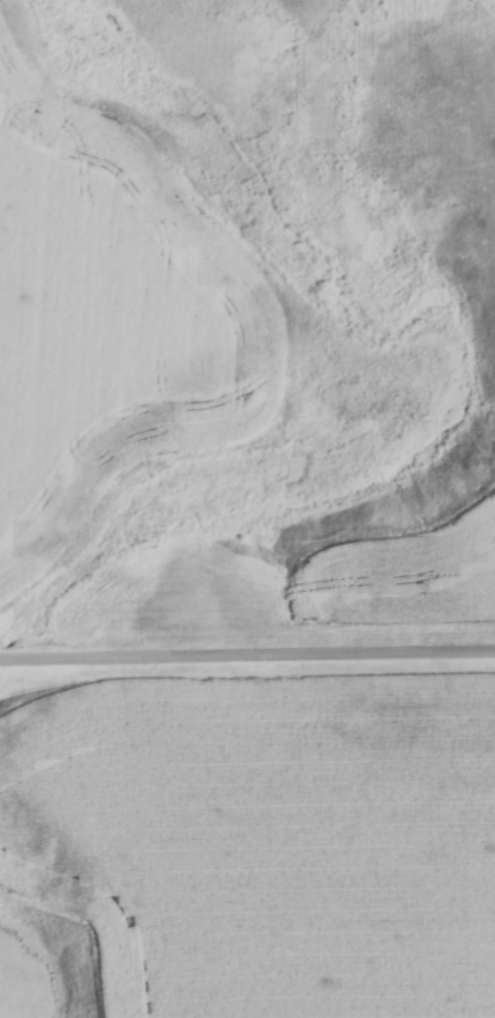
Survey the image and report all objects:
road: (247, 651)

